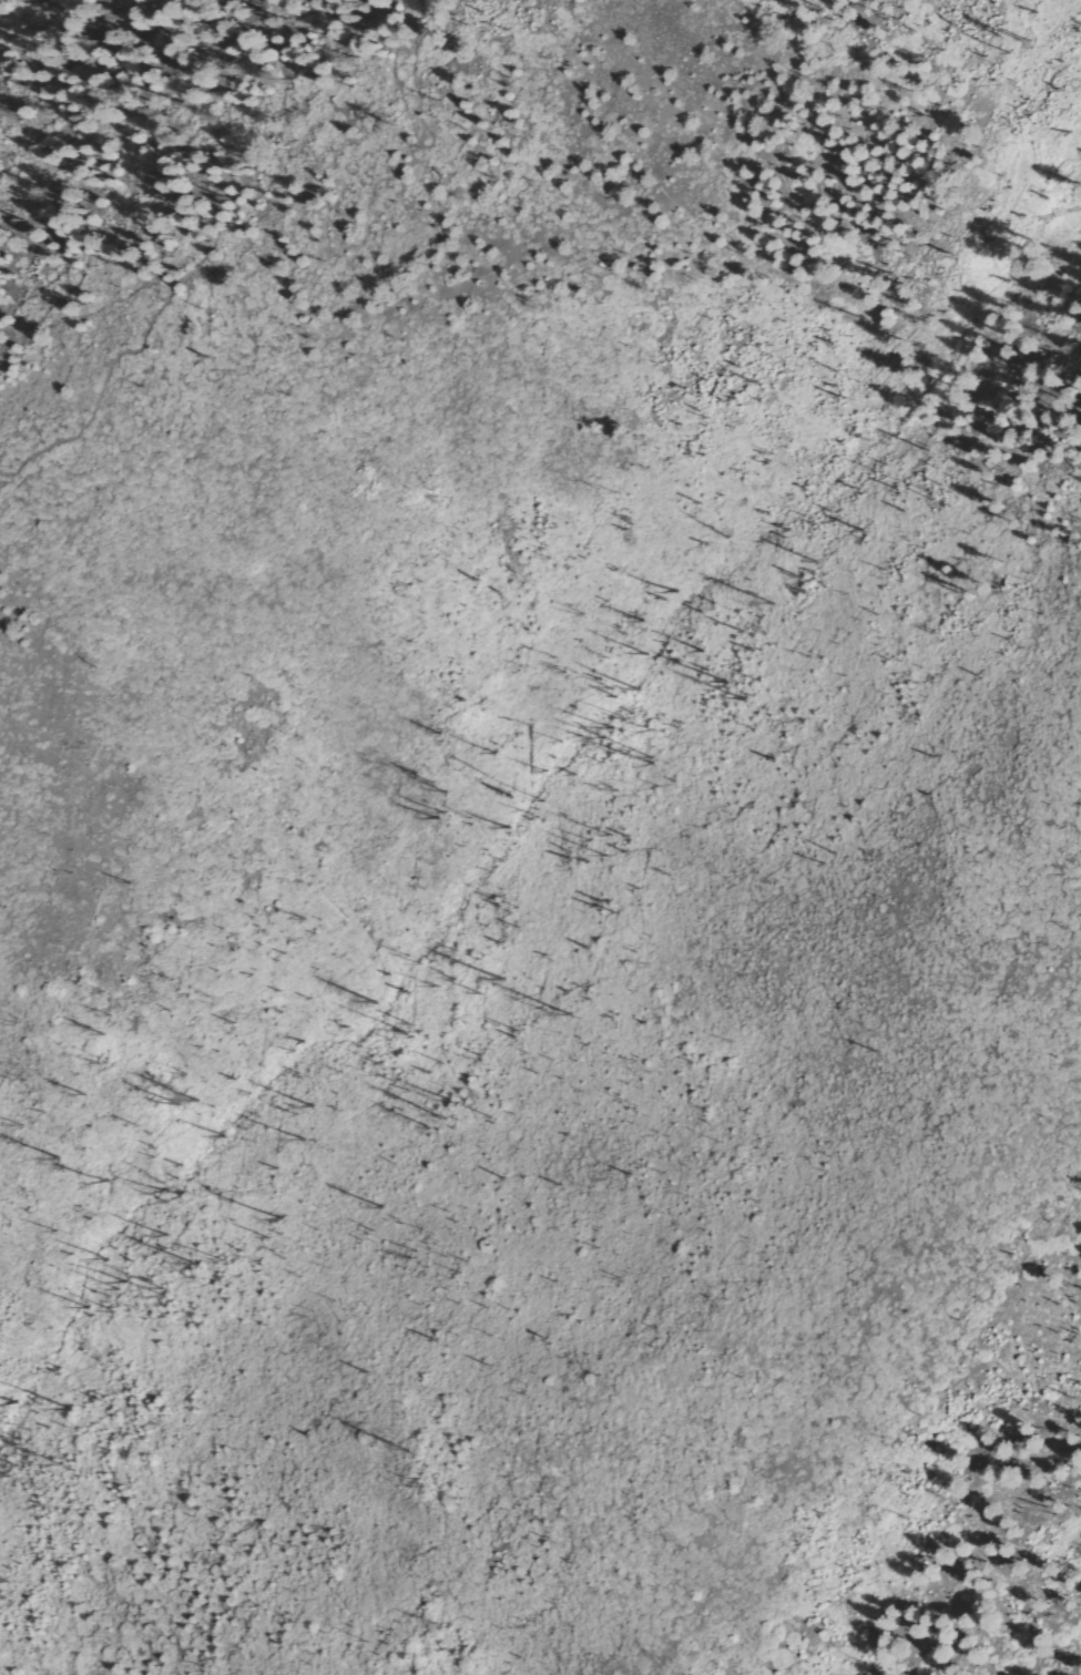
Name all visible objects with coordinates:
road: (422, 125)
road: (191, 263)
road: (74, 284)

